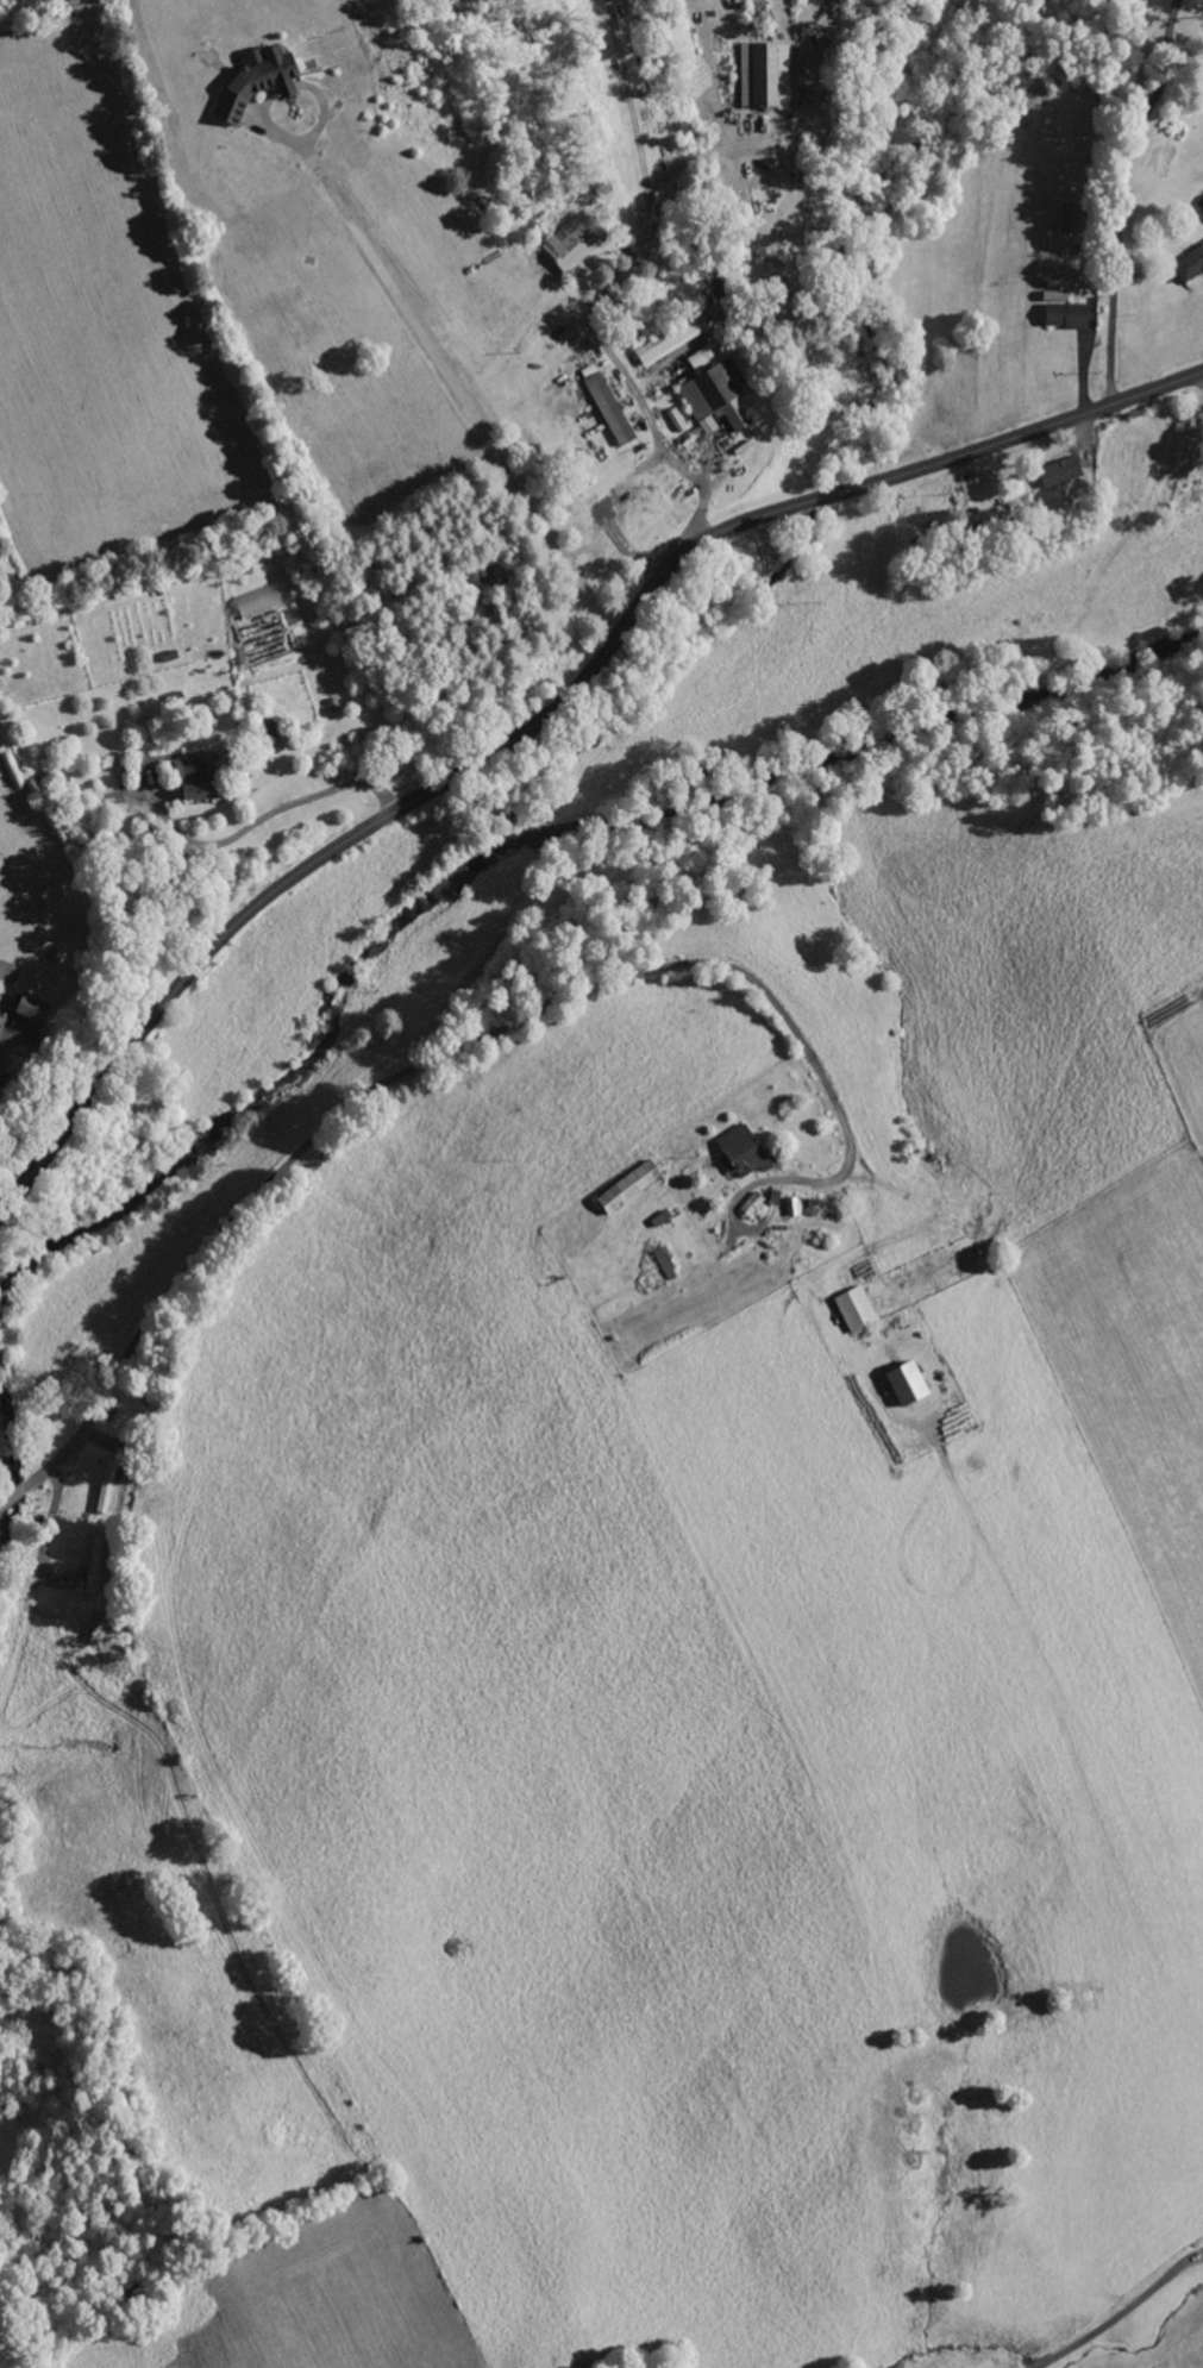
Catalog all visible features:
building: (258, 80)
building: (1201, 202)
building: (1072, 214)
building: (575, 240)
building: (1191, 264)
building: (1069, 314)
building: (676, 337)
building: (702, 356)
building: (719, 396)
building: (612, 408)
building: (678, 420)
building: (1063, 470)
road: (552, 712)
building: (199, 777)
building: (31, 1007)
building: (0, 1014)
building: (0, 1026)
road: (400, 1076)
building: (745, 1153)
building: (631, 1186)
building: (668, 1263)
building: (858, 1309)
building: (909, 1384)
road: (1120, 2314)

